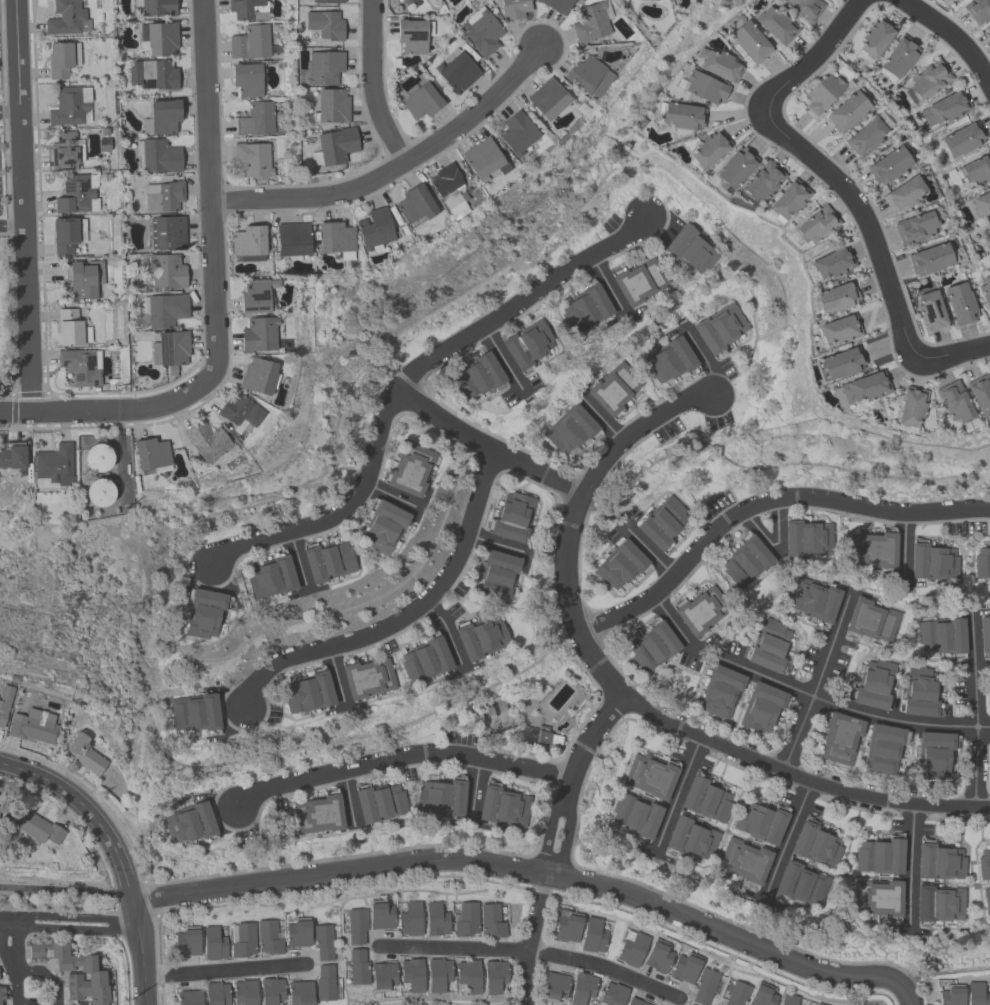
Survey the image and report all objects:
building: (653, 0)
building: (327, 1)
building: (938, 1)
building: (411, 2)
building: (557, 5)
building: (155, 7)
building: (513, 8)
building: (804, 8)
building: (248, 9)
building: (977, 10)
building: (66, 18)
building: (589, 23)
building: (324, 24)
building: (776, 25)
building: (987, 29)
building: (481, 31)
building: (413, 35)
road: (953, 35)
building: (159, 38)
building: (874, 39)
building: (250, 42)
building: (750, 42)
building: (62, 58)
building: (898, 58)
road: (811, 59)
building: (719, 65)
building: (323, 68)
building: (458, 71)
building: (153, 74)
building: (588, 75)
building: (246, 79)
building: (927, 81)
road: (371, 85)
building: (703, 86)
building: (821, 93)
building: (547, 99)
building: (419, 101)
building: (70, 106)
building: (331, 106)
building: (945, 108)
road: (9, 109)
building: (846, 112)
building: (681, 116)
building: (161, 117)
building: (255, 119)
building: (517, 132)
building: (864, 136)
building: (962, 139)
building: (333, 147)
building: (65, 150)
building: (708, 150)
building: (157, 156)
building: (252, 160)
building: (484, 160)
building: (888, 165)
road: (395, 167)
building: (735, 167)
building: (976, 169)
building: (760, 183)
building: (449, 190)
building: (77, 193)
road: (210, 194)
building: (903, 194)
building: (164, 198)
building: (788, 200)
road: (528, 202)
building: (983, 202)
building: (415, 204)
road: (21, 205)
road: (864, 224)
road: (11, 226)
building: (815, 226)
building: (914, 228)
building: (374, 230)
building: (988, 231)
building: (167, 233)
building: (67, 235)
building: (335, 238)
building: (292, 239)
building: (248, 243)
building: (690, 249)
building: (931, 259)
building: (832, 263)
building: (165, 271)
building: (85, 279)
road: (607, 284)
building: (633, 285)
building: (985, 290)
building: (256, 295)
building: (837, 297)
road: (521, 299)
building: (960, 303)
building: (584, 308)
building: (162, 310)
building: (989, 310)
building: (930, 311)
building: (71, 328)
building: (719, 328)
building: (838, 330)
building: (259, 334)
building: (527, 344)
building: (170, 348)
road: (952, 355)
road: (501, 357)
road: (704, 359)
building: (668, 360)
building: (840, 363)
building: (81, 366)
building: (258, 376)
building: (477, 376)
building: (614, 388)
building: (861, 388)
building: (980, 394)
building: (955, 404)
building: (909, 408)
road: (104, 409)
building: (240, 412)
road: (601, 418)
building: (570, 428)
building: (206, 441)
road: (487, 445)
building: (150, 454)
building: (12, 455)
building: (98, 459)
building: (53, 466)
building: (410, 470)
building: (99, 492)
road: (391, 495)
road: (763, 502)
road: (340, 513)
building: (512, 517)
building: (662, 523)
building: (382, 527)
building: (806, 539)
road: (495, 542)
road: (903, 546)
building: (871, 550)
road: (649, 551)
road: (777, 554)
road: (297, 560)
building: (327, 561)
building: (746, 562)
building: (932, 562)
building: (981, 563)
building: (619, 564)
building: (497, 575)
building: (269, 577)
building: (813, 599)
building: (699, 610)
building: (203, 613)
road: (405, 615)
building: (871, 620)
road: (675, 626)
road: (445, 628)
building: (984, 633)
building: (942, 636)
building: (480, 638)
road: (830, 643)
building: (769, 646)
building: (652, 647)
building: (425, 660)
road: (974, 669)
road: (334, 674)
road: (764, 675)
building: (366, 678)
building: (874, 684)
building: (720, 691)
building: (920, 692)
building: (307, 693)
road: (621, 695)
building: (4, 701)
building: (761, 707)
building: (194, 713)
road: (893, 718)
building: (496, 719)
building: (33, 726)
road: (983, 726)
road: (797, 732)
building: (546, 736)
building: (840, 739)
building: (882, 748)
building: (84, 753)
road: (400, 755)
building: (933, 755)
road: (976, 766)
building: (649, 776)
road: (571, 779)
road: (474, 790)
road: (676, 794)
road: (347, 797)
building: (441, 797)
building: (705, 799)
building: (379, 803)
building: (502, 806)
building: (0, 808)
road: (86, 808)
building: (318, 814)
building: (634, 815)
building: (760, 822)
building: (186, 823)
building: (37, 828)
road: (788, 835)
building: (689, 838)
building: (816, 845)
building: (879, 856)
building: (743, 860)
building: (939, 862)
building: (984, 864)
road: (910, 865)
road: (338, 870)
building: (800, 884)
road: (65, 890)
building: (877, 897)
building: (986, 901)
building: (937, 903)
road: (77, 915)
building: (380, 915)
road: (11, 918)
building: (410, 919)
building: (435, 919)
building: (466, 919)
building: (491, 921)
building: (356, 926)
building: (567, 926)
road: (77, 929)
building: (298, 932)
building: (592, 936)
road: (733, 936)
building: (268, 938)
road: (530, 938)
building: (243, 940)
building: (187, 941)
building: (323, 941)
building: (213, 943)
road: (7, 944)
road: (453, 947)
building: (632, 949)
road: (139, 950)
building: (658, 956)
road: (603, 966)
building: (357, 967)
building: (684, 967)
road: (31, 969)
road: (224, 970)
building: (412, 974)
building: (438, 974)
building: (468, 975)
building: (382, 976)
building: (493, 976)
building: (96, 977)
building: (324, 983)
building: (704, 986)
building: (553, 987)
building: (581, 988)
building: (271, 990)
building: (244, 992)
building: (1, 993)
building: (216, 993)
building: (299, 993)
building: (612, 994)
building: (737, 994)
building: (977, 994)
building: (762, 995)
building: (951, 995)
building: (189, 997)
building: (788, 999)
building: (635, 1002)
building: (78, 1004)
building: (687, 1004)
building: (817, 1004)

